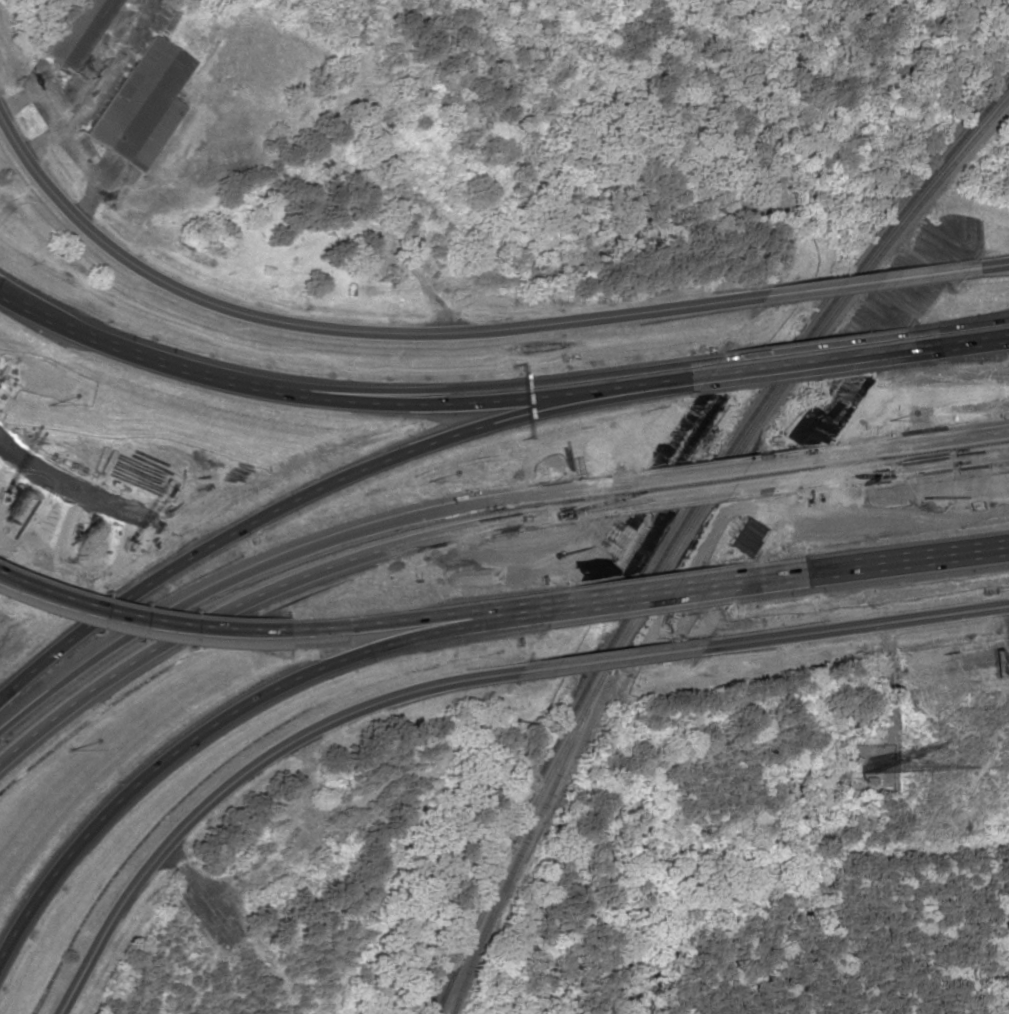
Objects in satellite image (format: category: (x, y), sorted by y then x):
building: (76, 32)
building: (141, 104)
road: (988, 267)
road: (864, 283)
road: (25, 302)
road: (953, 327)
road: (340, 331)
road: (948, 341)
road: (108, 345)
road: (806, 347)
road: (796, 363)
road: (672, 380)
road: (468, 388)
road: (431, 401)
road: (910, 444)
road: (902, 468)
road: (723, 470)
road: (706, 495)
road: (299, 497)
road: (513, 499)
railway: (682, 526)
railway: (687, 533)
road: (872, 567)
road: (288, 584)
road: (639, 597)
road: (185, 604)
road: (492, 617)
road: (168, 624)
road: (392, 626)
road: (854, 628)
road: (607, 661)
road: (183, 738)
road: (238, 775)
railway: (521, 851)

